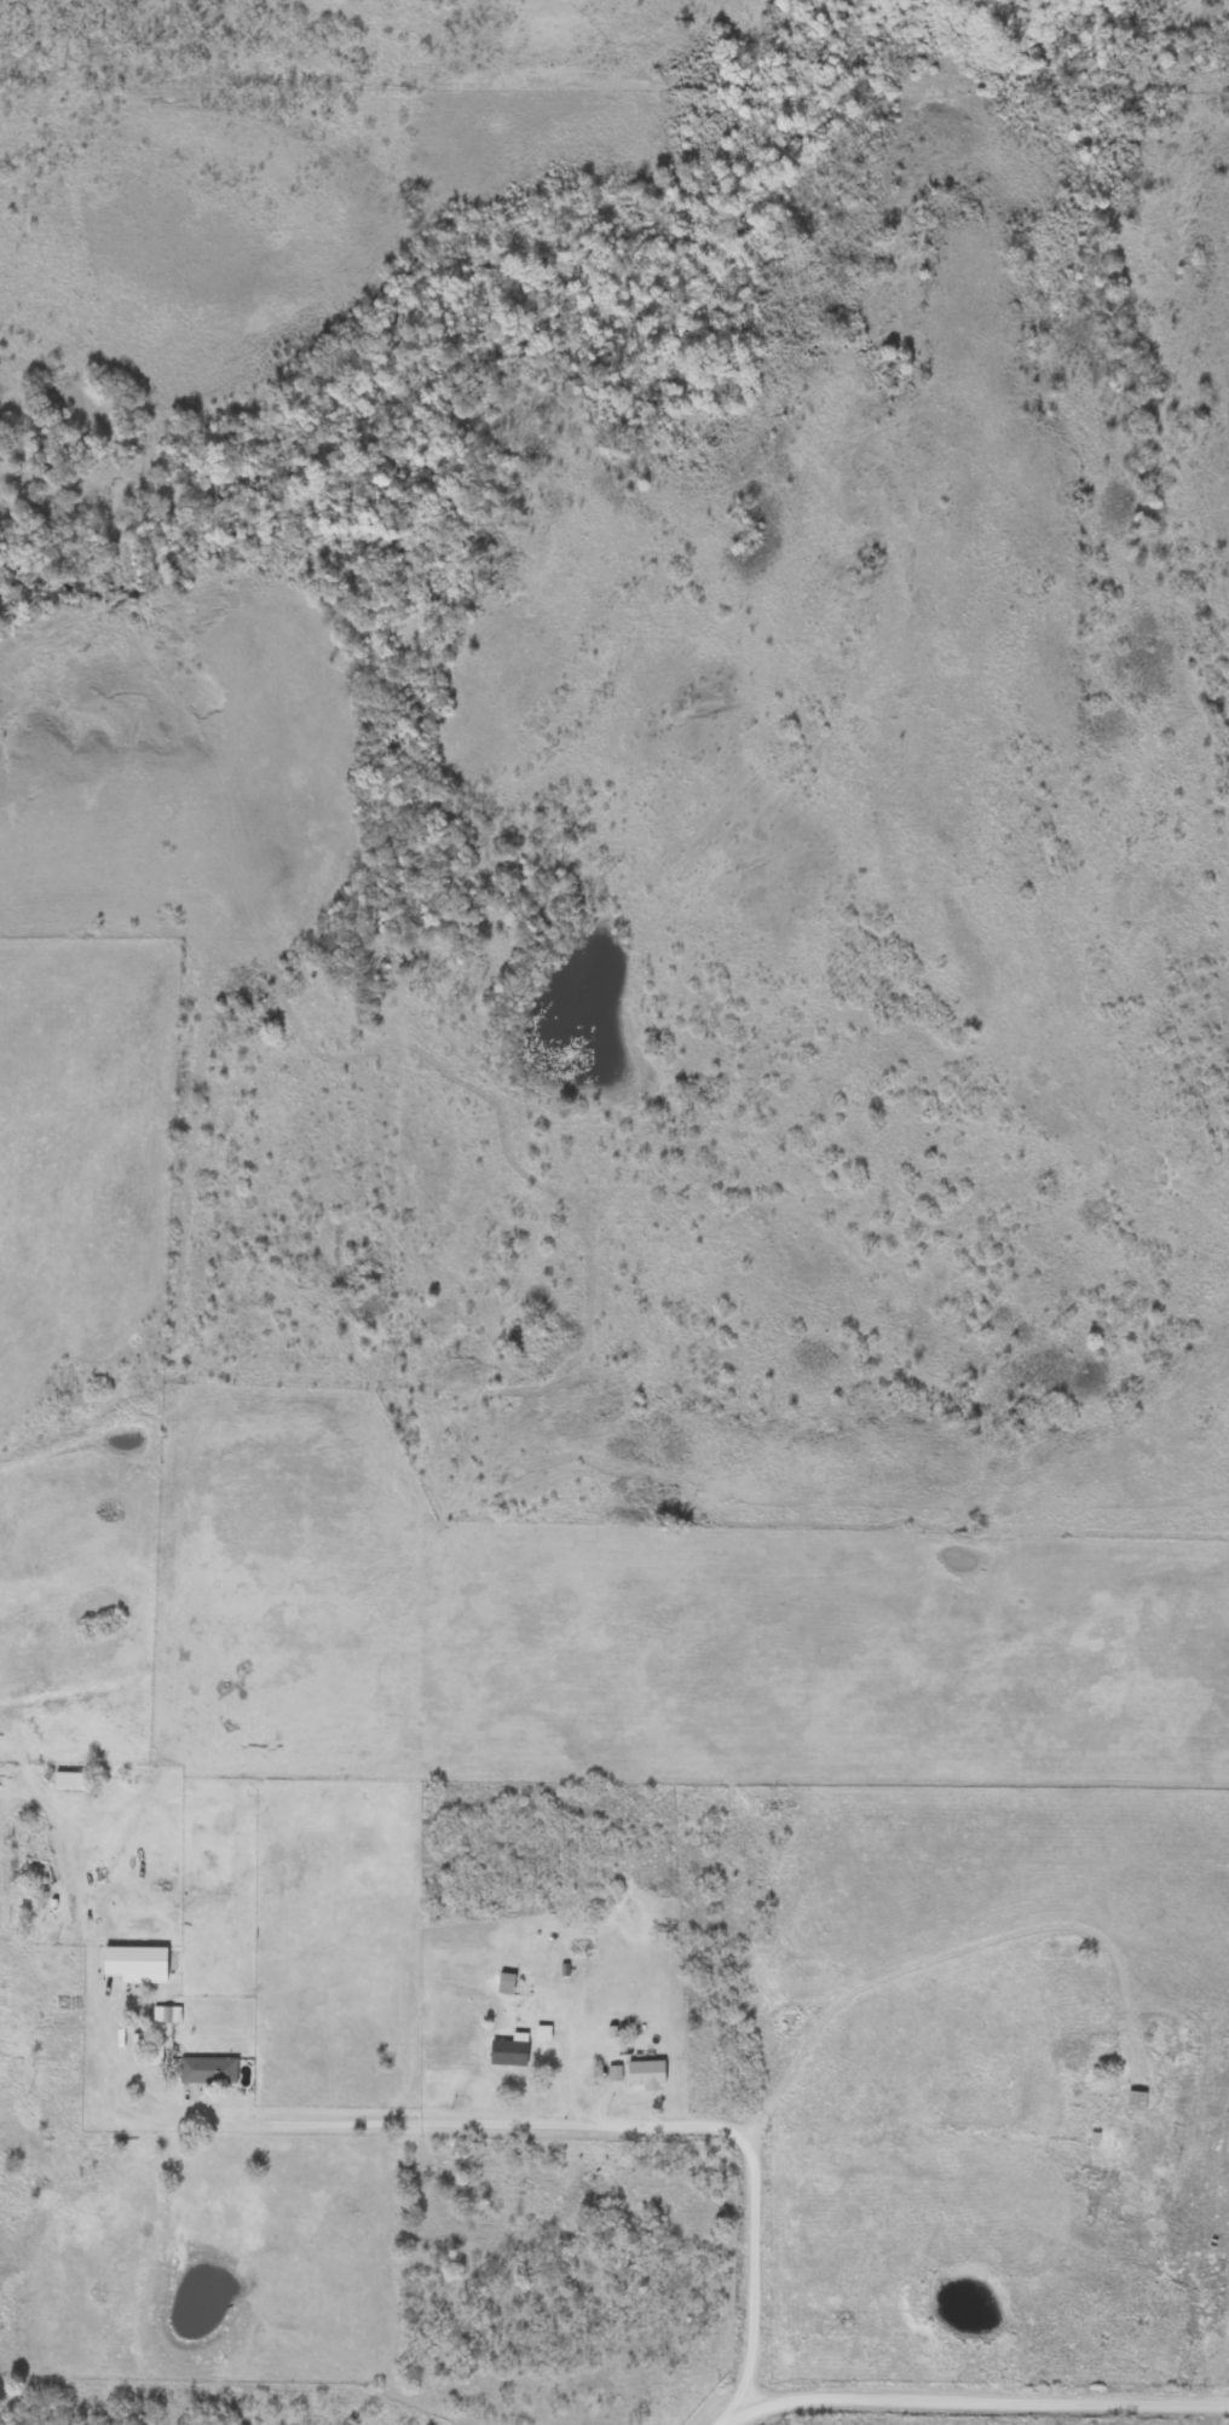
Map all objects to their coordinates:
building: (504, 1982)
building: (69, 2003)
building: (506, 2051)
building: (206, 2069)
building: (612, 2072)
building: (644, 2072)
building: (1086, 2098)
road: (644, 2124)
road: (976, 2401)

